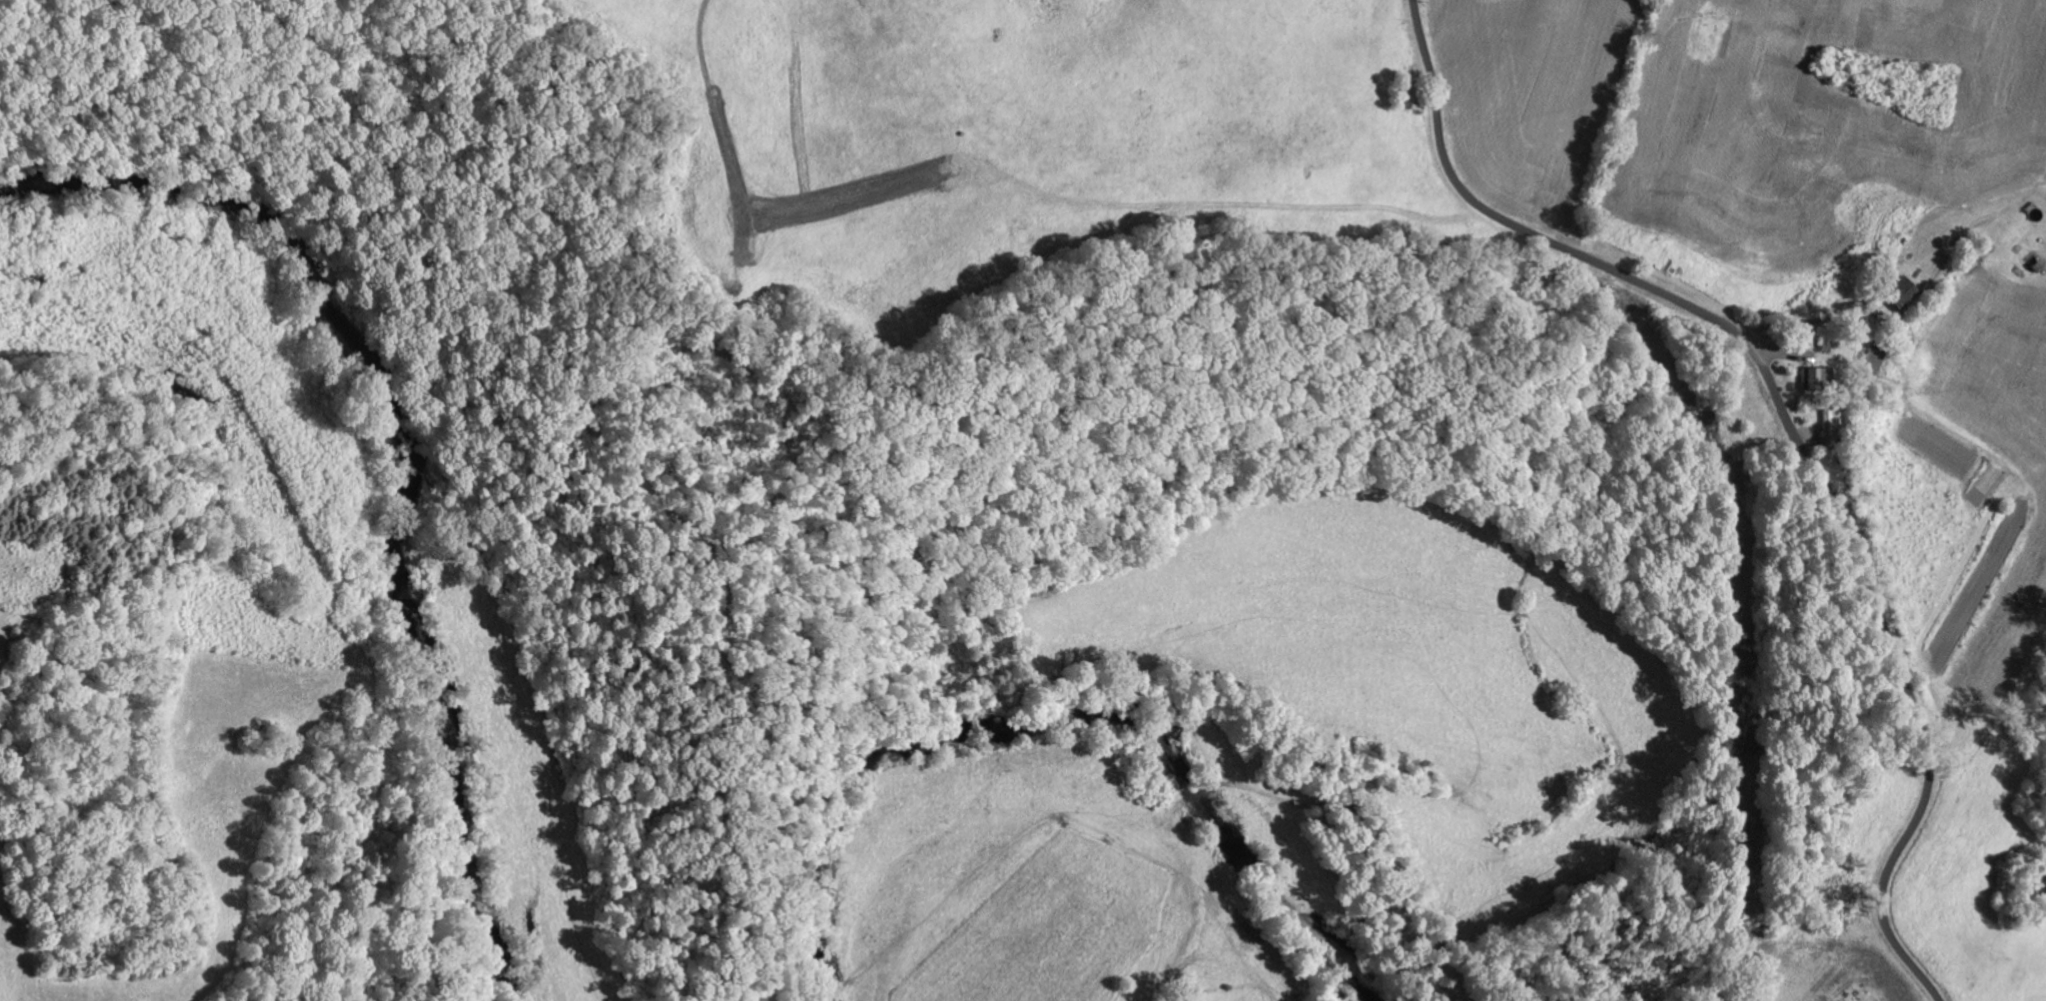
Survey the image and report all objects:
building: (1904, 292)
building: (1818, 377)
building: (1832, 426)
road: (1794, 435)

